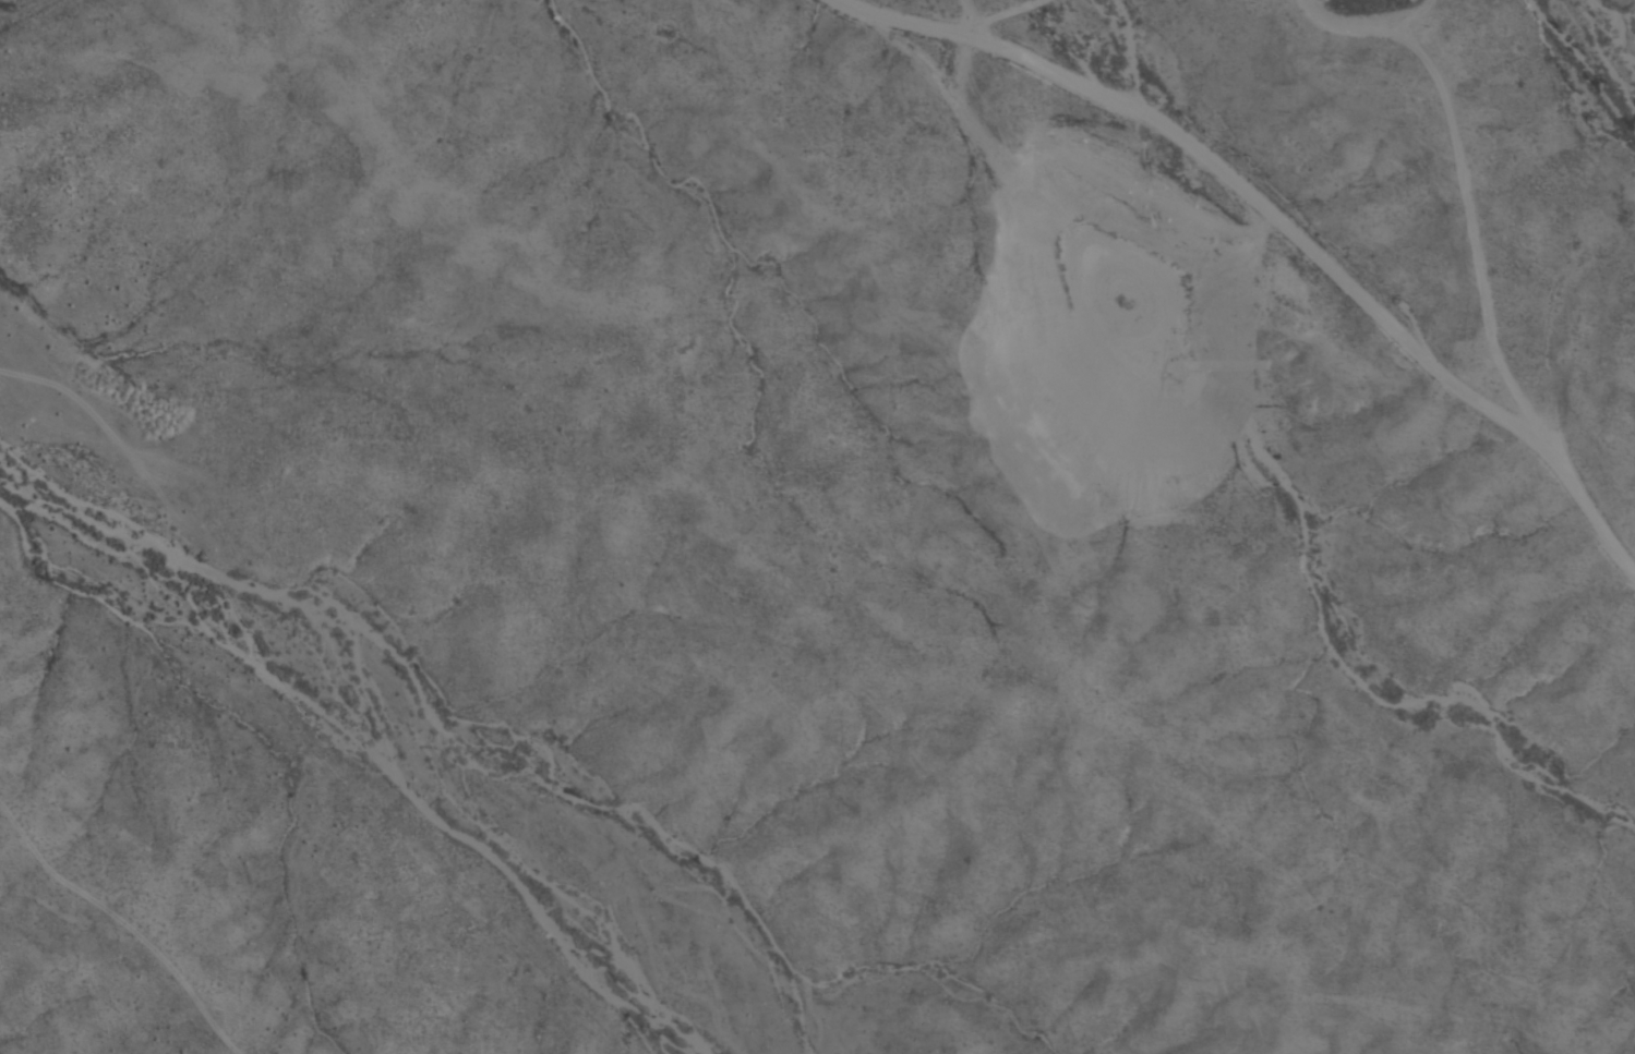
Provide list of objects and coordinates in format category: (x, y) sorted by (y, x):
road: (1005, 14)
road: (1285, 221)
road: (127, 919)

